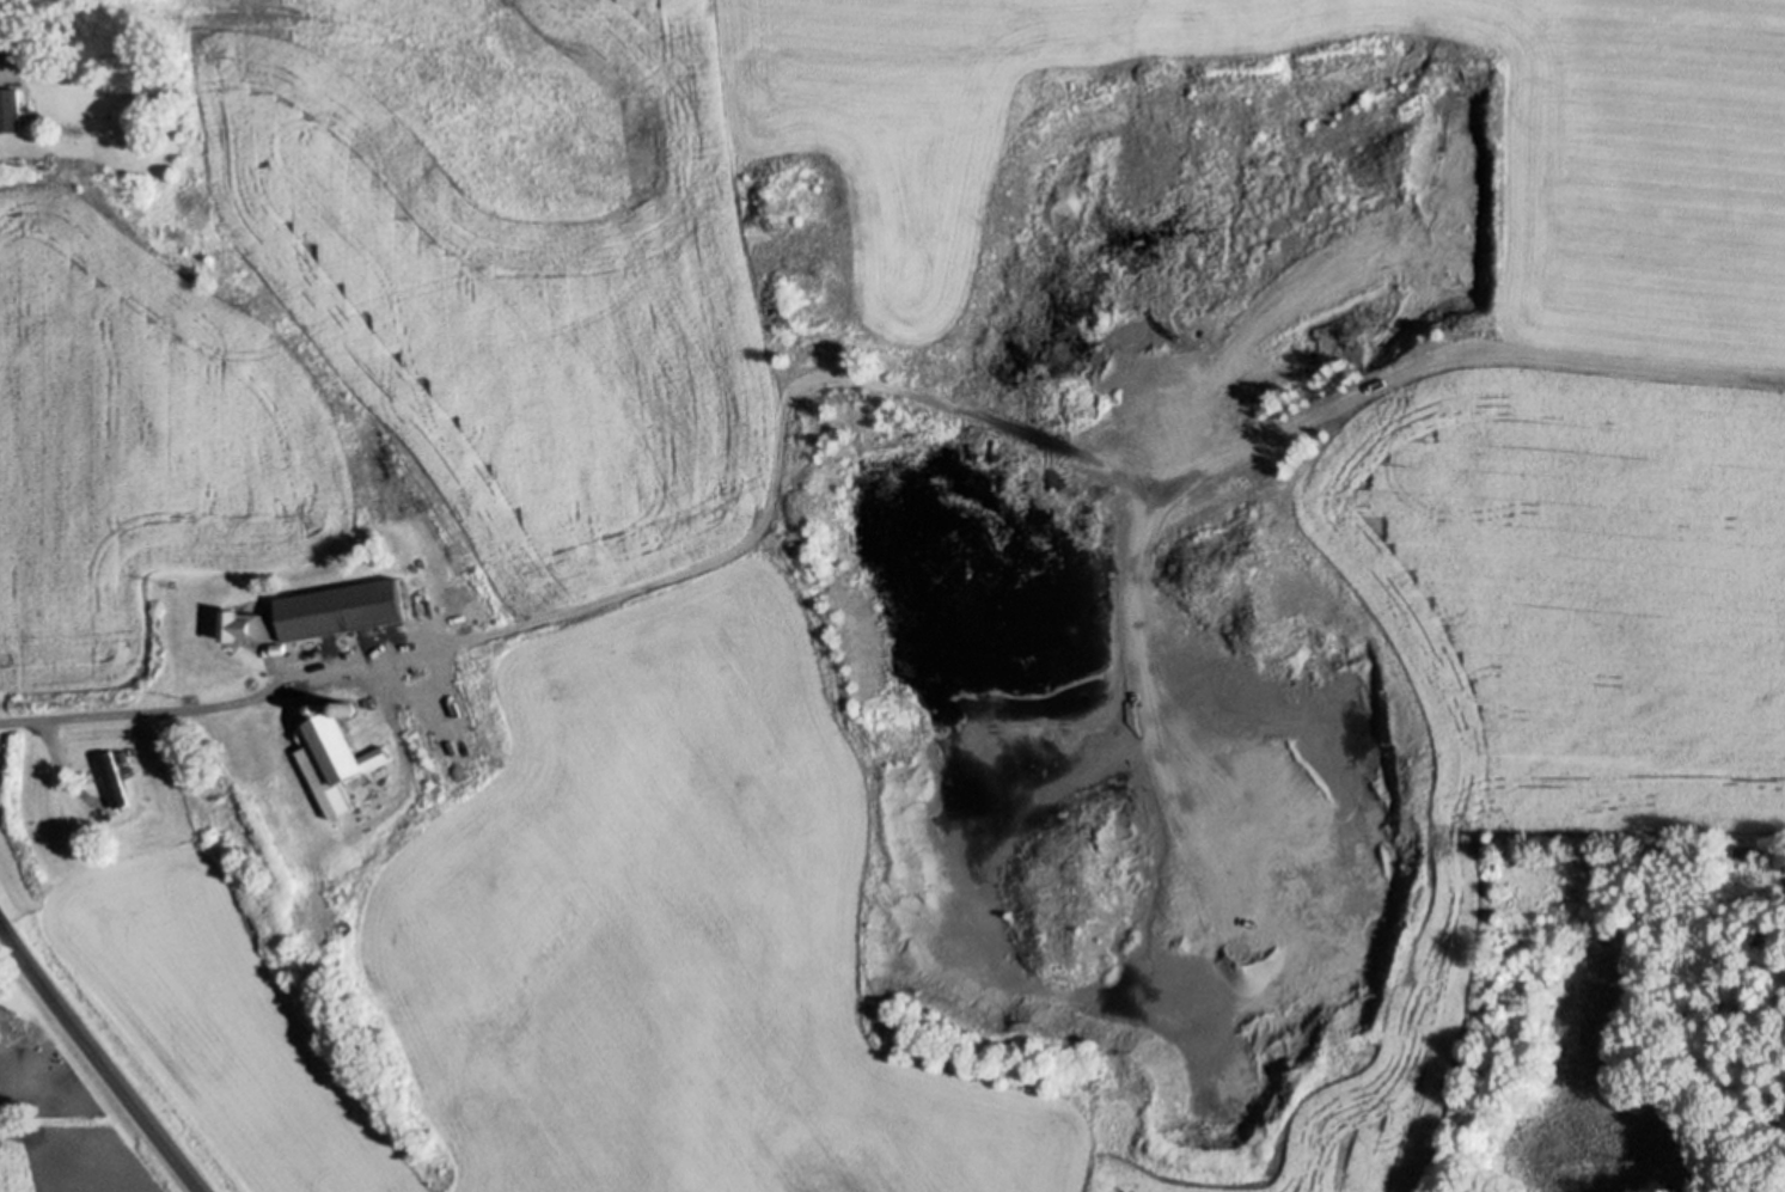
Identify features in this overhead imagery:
building: (33, 55)
building: (10, 108)
building: (140, 140)
building: (342, 607)
building: (247, 624)
building: (280, 647)
road: (265, 692)
building: (343, 704)
building: (316, 707)
building: (334, 758)
building: (112, 778)
building: (1747, 850)
road: (100, 1058)

